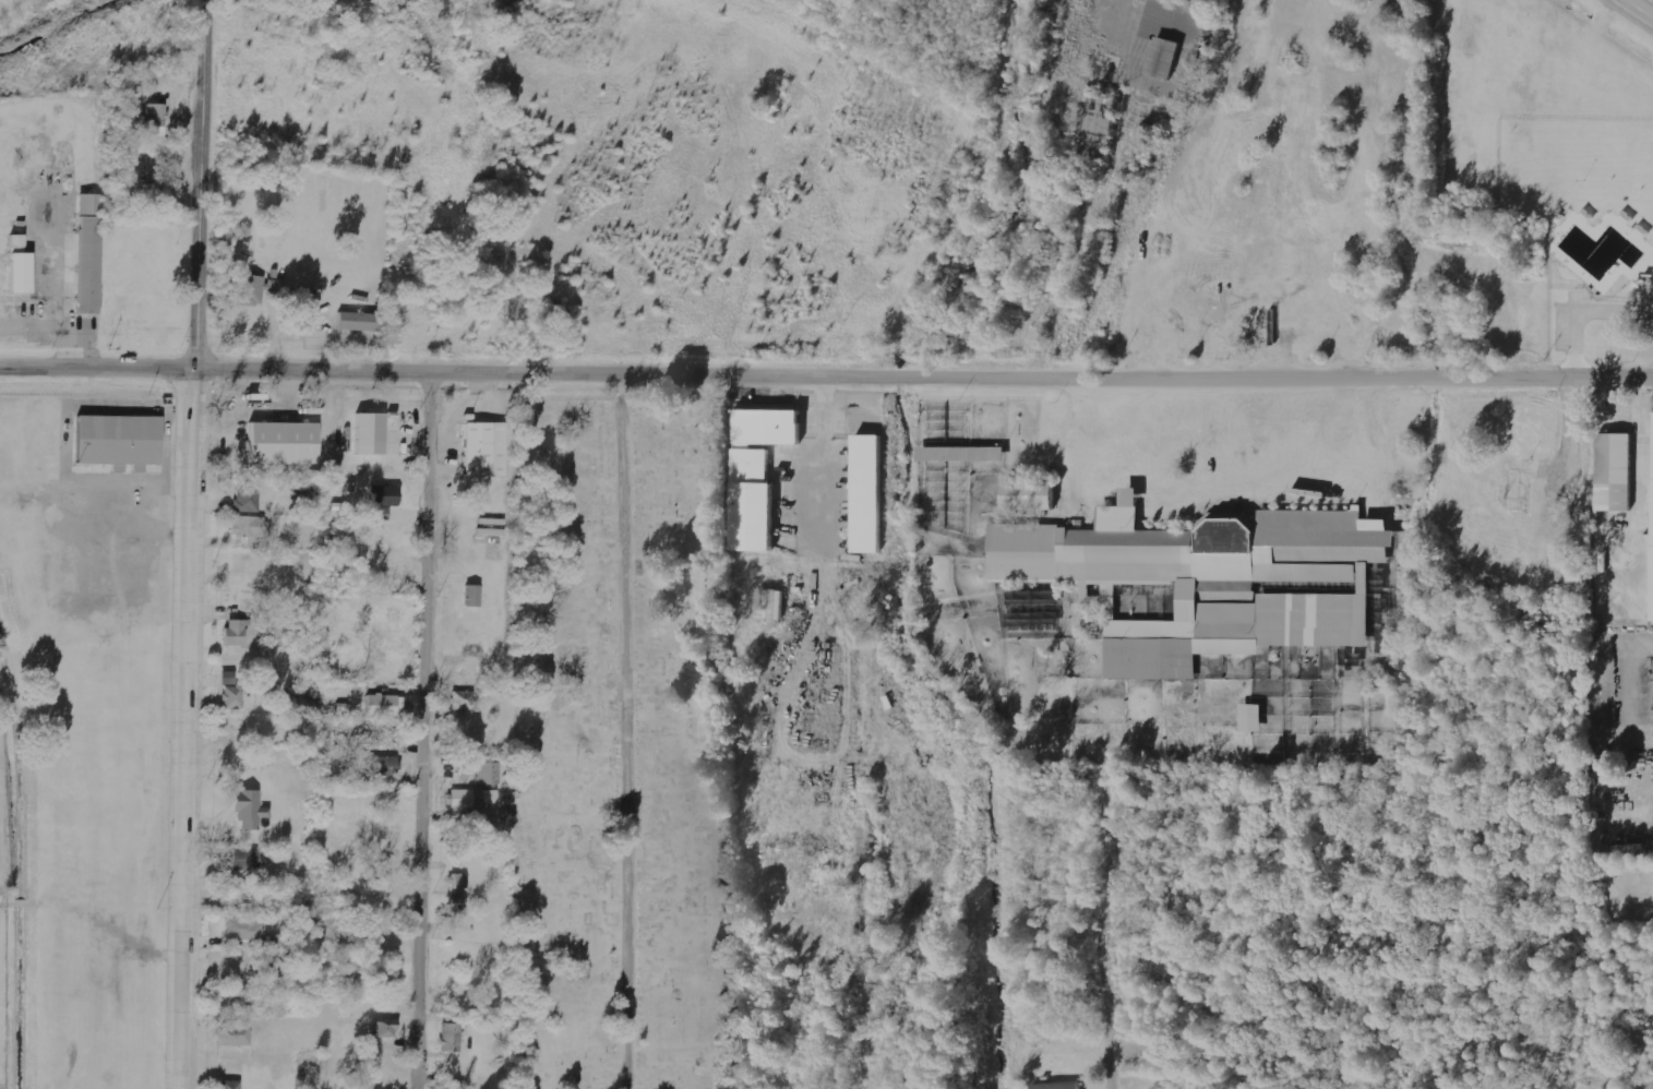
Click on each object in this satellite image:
road: (1638, 9)
building: (1174, 47)
building: (156, 120)
building: (154, 181)
park: (1588, 228)
building: (87, 255)
building: (21, 267)
building: (251, 290)
building: (359, 322)
road: (826, 375)
building: (370, 434)
building: (118, 439)
building: (284, 444)
building: (482, 451)
building: (961, 455)
building: (758, 472)
building: (1614, 472)
building: (869, 494)
building: (386, 496)
building: (1030, 496)
building: (248, 498)
building: (382, 513)
building: (252, 527)
road: (191, 543)
building: (1651, 562)
building: (1213, 581)
building: (472, 597)
building: (1382, 606)
building: (237, 633)
building: (233, 698)
building: (464, 701)
building: (385, 706)
building: (1254, 718)
road: (426, 729)
park: (84, 731)
road: (628, 732)
building: (374, 734)
park: (625, 735)
building: (339, 742)
building: (383, 767)
building: (489, 774)
building: (474, 801)
building: (250, 810)
building: (245, 861)
building: (458, 882)
building: (459, 907)
building: (244, 930)
road: (866, 1013)
building: (387, 1028)
building: (235, 1037)
building: (451, 1037)
road: (1107, 1066)
building: (230, 1085)
building: (1058, 1085)

